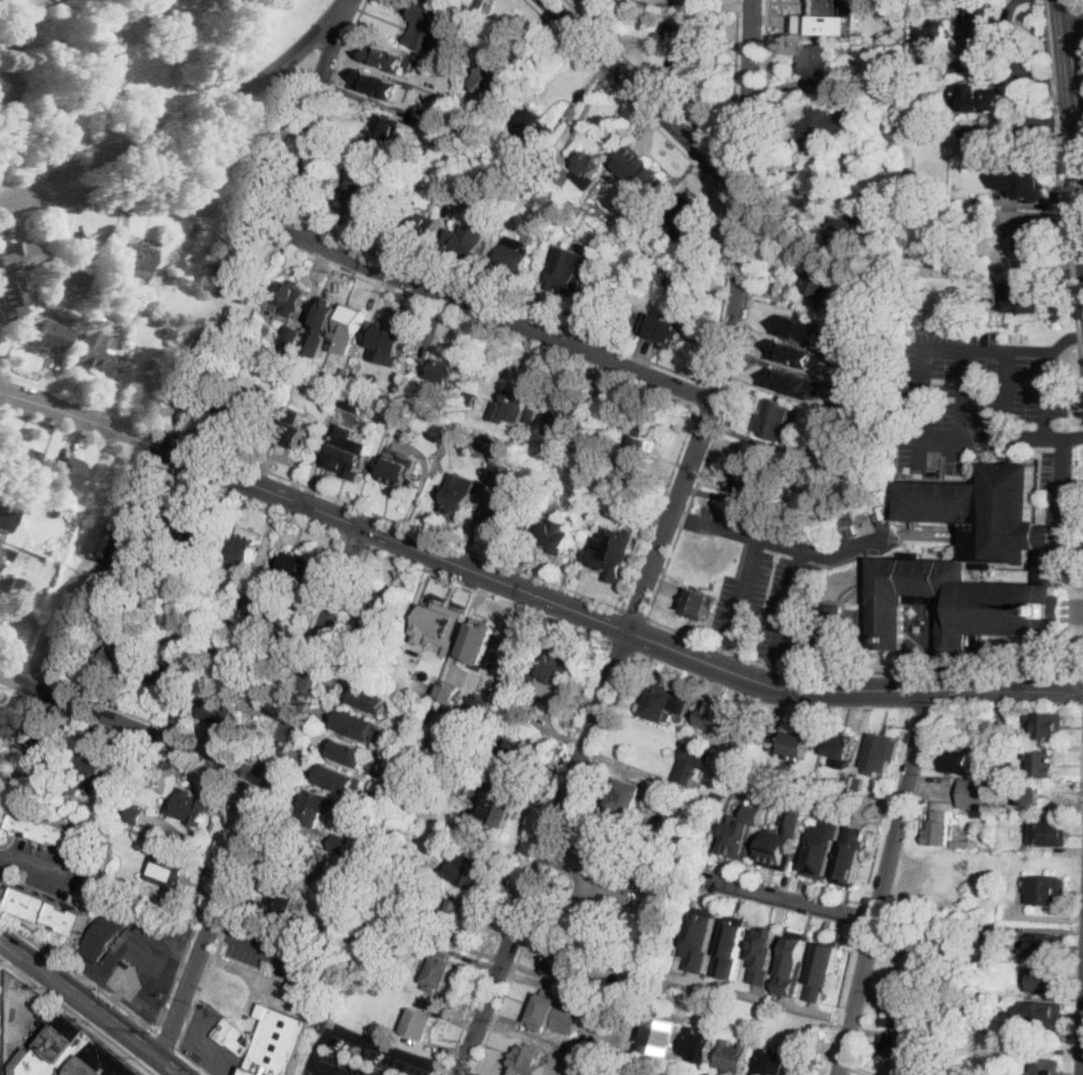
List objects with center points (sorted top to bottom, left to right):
road: (1080, 2)
building: (479, 6)
building: (899, 7)
building: (815, 12)
road: (1081, 14)
building: (703, 18)
road: (1074, 18)
building: (982, 24)
building: (13, 29)
building: (431, 29)
building: (688, 29)
building: (934, 32)
building: (392, 58)
building: (818, 64)
road: (1005, 70)
building: (86, 80)
building: (491, 80)
building: (381, 82)
building: (8, 93)
road: (643, 96)
road: (1073, 98)
building: (976, 99)
building: (49, 115)
road: (312, 117)
building: (415, 120)
road: (179, 122)
building: (535, 127)
building: (822, 129)
building: (384, 130)
road: (1057, 135)
road: (709, 139)
building: (980, 139)
building: (6, 141)
road: (88, 149)
park: (230, 152)
building: (678, 168)
building: (638, 169)
building: (586, 170)
building: (550, 172)
building: (1029, 181)
road: (734, 183)
building: (641, 188)
building: (449, 192)
building: (370, 197)
building: (979, 199)
building: (1005, 203)
building: (872, 212)
building: (418, 224)
building: (691, 225)
building: (842, 231)
building: (619, 233)
building: (1031, 235)
building: (468, 239)
building: (651, 253)
building: (16, 255)
building: (515, 255)
building: (140, 260)
road: (365, 260)
building: (566, 270)
road: (1049, 272)
road: (357, 273)
building: (68, 275)
power tower: (170, 282)
building: (231, 282)
building: (820, 282)
building: (681, 283)
road: (1060, 288)
road: (1051, 291)
building: (602, 295)
building: (1022, 297)
building: (291, 298)
building: (9, 299)
road: (1075, 300)
building: (68, 308)
building: (803, 328)
building: (350, 329)
building: (663, 329)
building: (169, 332)
road: (1079, 335)
building: (44, 338)
building: (389, 339)
building: (290, 341)
road: (1064, 341)
building: (91, 352)
building: (799, 353)
road: (629, 354)
road: (1081, 355)
road: (3, 371)
building: (444, 371)
building: (850, 376)
building: (792, 381)
road: (3, 386)
building: (178, 391)
road: (1007, 395)
road: (1047, 396)
road: (702, 398)
building: (471, 399)
road: (965, 399)
building: (354, 400)
building: (519, 400)
building: (615, 406)
building: (241, 410)
building: (407, 418)
building: (775, 420)
building: (565, 424)
building: (293, 433)
building: (452, 439)
road: (1074, 439)
building: (890, 440)
building: (826, 444)
building: (880, 446)
building: (638, 448)
road: (933, 449)
building: (350, 453)
building: (22, 458)
building: (399, 471)
building: (504, 471)
building: (66, 472)
building: (743, 480)
road: (307, 486)
building: (459, 492)
building: (598, 492)
building: (573, 500)
building: (605, 500)
building: (739, 500)
building: (9, 509)
building: (638, 509)
building: (863, 510)
building: (504, 512)
building: (844, 513)
road: (683, 520)
building: (848, 522)
road: (680, 526)
building: (193, 528)
road: (375, 531)
building: (559, 535)
building: (114, 543)
road: (355, 543)
road: (1073, 547)
building: (243, 549)
road: (659, 549)
road: (794, 549)
building: (612, 553)
building: (4, 556)
building: (953, 561)
building: (294, 565)
building: (253, 579)
road: (454, 581)
building: (274, 583)
building: (16, 589)
building: (150, 590)
road: (531, 594)
road: (745, 594)
building: (700, 603)
road: (791, 606)
building: (393, 607)
road: (315, 609)
power tower: (53, 613)
road: (635, 614)
building: (264, 616)
building: (22, 617)
building: (228, 624)
building: (831, 626)
building: (921, 626)
building: (441, 630)
building: (68, 639)
building: (478, 641)
road: (622, 649)
building: (511, 652)
road: (728, 656)
building: (118, 659)
building: (248, 665)
building: (559, 673)
road: (771, 673)
building: (167, 675)
building: (373, 699)
building: (664, 702)
building: (482, 703)
building: (358, 710)
building: (417, 711)
building: (221, 713)
building: (392, 716)
building: (523, 719)
road: (132, 725)
building: (359, 725)
building: (703, 725)
building: (1045, 725)
building: (681, 727)
building: (1004, 730)
building: (474, 734)
building: (841, 744)
building: (423, 745)
building: (791, 745)
building: (46, 751)
building: (350, 752)
building: (880, 753)
road: (188, 760)
building: (518, 760)
building: (955, 761)
building: (692, 762)
building: (340, 763)
building: (1042, 763)
building: (168, 764)
building: (89, 770)
building: (421, 770)
building: (992, 771)
building: (744, 773)
building: (1011, 774)
building: (341, 777)
building: (452, 782)
building: (860, 782)
road: (259, 791)
building: (739, 793)
building: (844, 793)
building: (977, 793)
building: (1030, 794)
road: (1082, 795)
building: (772, 796)
building: (625, 798)
building: (720, 798)
building: (423, 802)
building: (191, 805)
building: (698, 806)
building: (315, 808)
building: (499, 811)
building: (7, 813)
building: (134, 815)
building: (990, 817)
building: (691, 820)
building: (940, 823)
building: (52, 831)
building: (743, 832)
building: (1047, 833)
building: (984, 838)
building: (783, 842)
building: (964, 843)
building: (342, 844)
building: (822, 848)
building: (604, 854)
building: (851, 854)
building: (301, 857)
building: (633, 857)
road: (555, 864)
parking lot: (49, 870)
building: (164, 871)
building: (470, 871)
road: (48, 873)
road: (884, 881)
building: (643, 883)
building: (1045, 888)
building: (282, 894)
building: (410, 897)
road: (789, 897)
building: (51, 910)
building: (995, 912)
building: (986, 916)
building: (459, 917)
building: (340, 918)
road: (220, 928)
building: (986, 932)
building: (107, 934)
building: (701, 937)
building: (732, 946)
building: (1044, 946)
road: (126, 947)
road: (275, 951)
parking lot: (277, 951)
building: (764, 953)
parking lot: (142, 958)
building: (563, 962)
building: (793, 963)
building: (822, 968)
building: (439, 972)
road: (79, 973)
building: (913, 979)
building: (1044, 979)
road: (142, 994)
building: (977, 1002)
building: (721, 1003)
road: (92, 1006)
road: (156, 1011)
building: (555, 1013)
building: (1041, 1014)
building: (896, 1015)
building: (47, 1016)
road: (76, 1016)
building: (623, 1018)
building: (939, 1019)
building: (418, 1023)
building: (959, 1026)
building: (991, 1026)
road: (345, 1032)
building: (661, 1036)
building: (234, 1037)
road: (166, 1041)
building: (279, 1042)
building: (698, 1045)
building: (902, 1045)
building: (71, 1054)
parking lot: (360, 1054)
building: (733, 1056)
road: (192, 1061)
building: (527, 1061)
building: (772, 1061)
building: (805, 1063)
building: (1044, 1066)
road: (447, 1067)

